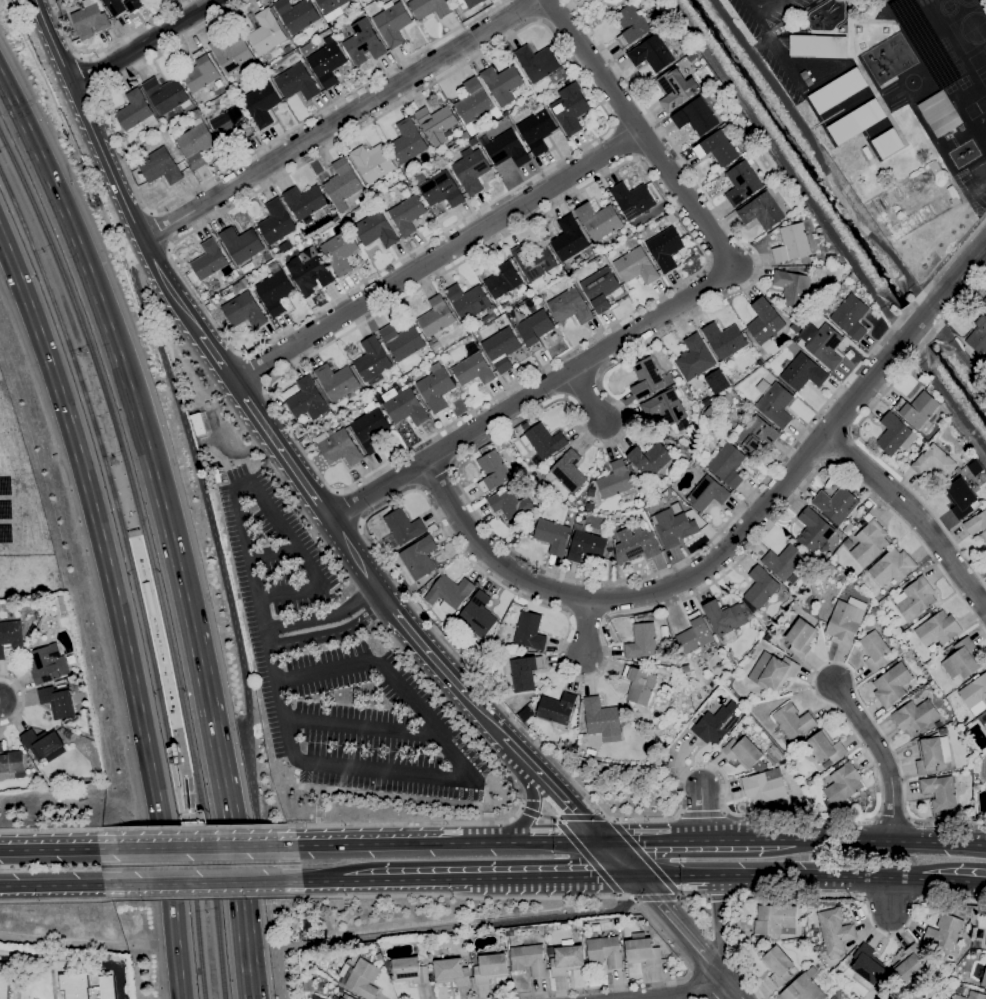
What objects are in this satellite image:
building: (589, 0)
building: (473, 2)
building: (614, 3)
building: (134, 4)
building: (116, 7)
building: (331, 8)
building: (430, 8)
road: (762, 9)
road: (531, 10)
building: (299, 14)
building: (91, 19)
building: (392, 22)
building: (631, 24)
building: (266, 31)
building: (364, 41)
building: (924, 42)
road: (144, 43)
building: (819, 46)
building: (309, 47)
park: (984, 47)
road: (104, 48)
building: (557, 52)
building: (232, 53)
building: (652, 53)
road: (779, 53)
building: (328, 62)
building: (537, 62)
park: (979, 66)
building: (201, 71)
park: (911, 81)
building: (297, 82)
building: (502, 83)
building: (676, 88)
building: (838, 90)
building: (167, 94)
building: (473, 101)
building: (262, 103)
park: (976, 107)
building: (570, 108)
building: (137, 111)
building: (941, 113)
building: (696, 116)
building: (231, 121)
road: (339, 121)
building: (856, 121)
building: (437, 122)
road: (609, 125)
building: (537, 129)
road: (92, 131)
building: (465, 135)
road: (953, 139)
building: (407, 141)
building: (473, 141)
road: (622, 141)
building: (196, 142)
building: (887, 143)
building: (718, 147)
building: (507, 149)
building: (867, 151)
building: (373, 161)
building: (160, 166)
building: (936, 169)
building: (472, 171)
road: (979, 178)
building: (742, 182)
building: (343, 183)
building: (439, 188)
road: (192, 190)
building: (632, 199)
building: (305, 200)
building: (762, 211)
building: (406, 214)
building: (600, 220)
building: (277, 221)
building: (376, 229)
road: (161, 230)
building: (569, 238)
building: (242, 243)
building: (792, 243)
building: (665, 248)
building: (340, 251)
road: (436, 257)
building: (831, 257)
building: (533, 260)
building: (211, 261)
road: (705, 262)
building: (636, 266)
building: (310, 271)
building: (193, 276)
building: (503, 278)
building: (791, 287)
building: (600, 288)
building: (275, 289)
road: (177, 298)
building: (468, 300)
building: (984, 302)
building: (571, 306)
road: (670, 307)
building: (785, 307)
building: (244, 309)
building: (436, 316)
building: (851, 316)
building: (489, 317)
building: (766, 325)
building: (795, 327)
building: (535, 329)
building: (977, 334)
building: (434, 339)
building: (724, 339)
building: (402, 340)
road: (113, 343)
building: (436, 345)
building: (825, 346)
building: (501, 348)
building: (694, 357)
road: (217, 359)
building: (373, 360)
building: (760, 362)
road: (253, 370)
building: (473, 370)
building: (803, 372)
building: (646, 378)
road: (896, 379)
building: (338, 380)
building: (436, 387)
road: (587, 397)
building: (309, 399)
building: (774, 402)
building: (403, 405)
building: (667, 409)
building: (710, 411)
building: (919, 411)
building: (198, 422)
building: (370, 426)
building: (757, 434)
building: (895, 434)
building: (543, 440)
road: (485, 443)
building: (917, 444)
road: (841, 447)
building: (340, 448)
road: (281, 451)
building: (650, 458)
building: (934, 463)
building: (727, 464)
building: (957, 469)
building: (493, 471)
building: (568, 471)
building: (615, 480)
road: (436, 481)
road: (243, 485)
solar farm: (18, 492)
building: (707, 493)
building: (961, 497)
building: (578, 501)
building: (510, 504)
building: (836, 504)
road: (350, 507)
road: (916, 514)
building: (617, 523)
building: (977, 524)
building: (401, 527)
building: (673, 527)
building: (848, 527)
building: (814, 531)
railway: (141, 534)
road: (285, 534)
road: (948, 534)
building: (553, 536)
road: (735, 537)
building: (870, 541)
building: (636, 545)
building: (586, 546)
road: (273, 553)
railway: (149, 555)
road: (355, 556)
building: (419, 557)
building: (784, 561)
building: (892, 566)
railway: (135, 576)
building: (761, 587)
road: (290, 592)
building: (449, 593)
building: (150, 598)
building: (915, 598)
building: (62, 604)
road: (117, 609)
building: (875, 611)
building: (478, 614)
road: (326, 616)
building: (726, 616)
road: (233, 619)
road: (266, 623)
building: (845, 623)
road: (429, 626)
building: (938, 629)
building: (530, 631)
road: (584, 631)
road: (333, 633)
building: (695, 634)
building: (10, 636)
building: (801, 638)
building: (642, 641)
road: (421, 644)
building: (874, 646)
building: (962, 659)
building: (47, 663)
parking lot: (338, 669)
building: (525, 671)
building: (772, 671)
road: (394, 679)
building: (642, 684)
building: (892, 685)
building: (975, 694)
road: (22, 700)
building: (58, 700)
building: (752, 704)
road: (207, 708)
building: (556, 708)
road: (484, 714)
building: (915, 716)
building: (602, 720)
building: (793, 721)
building: (716, 723)
building: (938, 723)
building: (745, 724)
road: (361, 725)
building: (651, 734)
building: (42, 742)
building: (825, 747)
road: (184, 751)
building: (591, 751)
road: (520, 753)
building: (745, 753)
building: (933, 753)
building: (774, 755)
road: (884, 755)
road: (181, 756)
building: (11, 760)
road: (384, 769)
road: (184, 771)
building: (842, 785)
building: (765, 786)
building: (941, 791)
road: (398, 796)
road: (180, 797)
road: (569, 803)
road: (531, 809)
road: (724, 810)
road: (529, 811)
road: (701, 812)
road: (701, 813)
road: (548, 815)
road: (584, 817)
road: (412, 824)
road: (194, 828)
road: (56, 829)
road: (635, 838)
road: (732, 838)
traffic signals: (601, 839)
road: (554, 840)
road: (889, 840)
road: (485, 841)
road: (369, 843)
road: (196, 846)
road: (58, 849)
road: (593, 857)
road: (619, 857)
road: (645, 857)
road: (554, 876)
traffic signals: (638, 876)
road: (780, 876)
road: (406, 879)
road: (954, 880)
road: (312, 881)
road: (202, 883)
road: (61, 886)
road: (890, 893)
road: (203, 895)
road: (239, 896)
road: (611, 896)
road: (654, 896)
road: (694, 896)
road: (723, 897)
road: (828, 899)
road: (61, 900)
building: (964, 912)
building: (779, 920)
road: (721, 926)
road: (454, 927)
road: (681, 927)
building: (835, 931)
building: (945, 932)
road: (87, 942)
building: (985, 944)
building: (928, 949)
building: (550, 950)
building: (606, 951)
building: (643, 951)
road: (51, 957)
building: (380, 958)
building: (567, 958)
building: (529, 959)
building: (910, 963)
building: (779, 966)
building: (490, 967)
building: (867, 967)
building: (409, 970)
building: (451, 971)
road: (119, 972)
building: (6, 978)
building: (360, 978)
building: (984, 980)
building: (75, 985)
building: (308, 985)
building: (107, 987)
building: (804, 987)
road: (732, 988)
road: (689, 994)
building: (970, 996)
building: (343, 997)
building: (834, 997)

